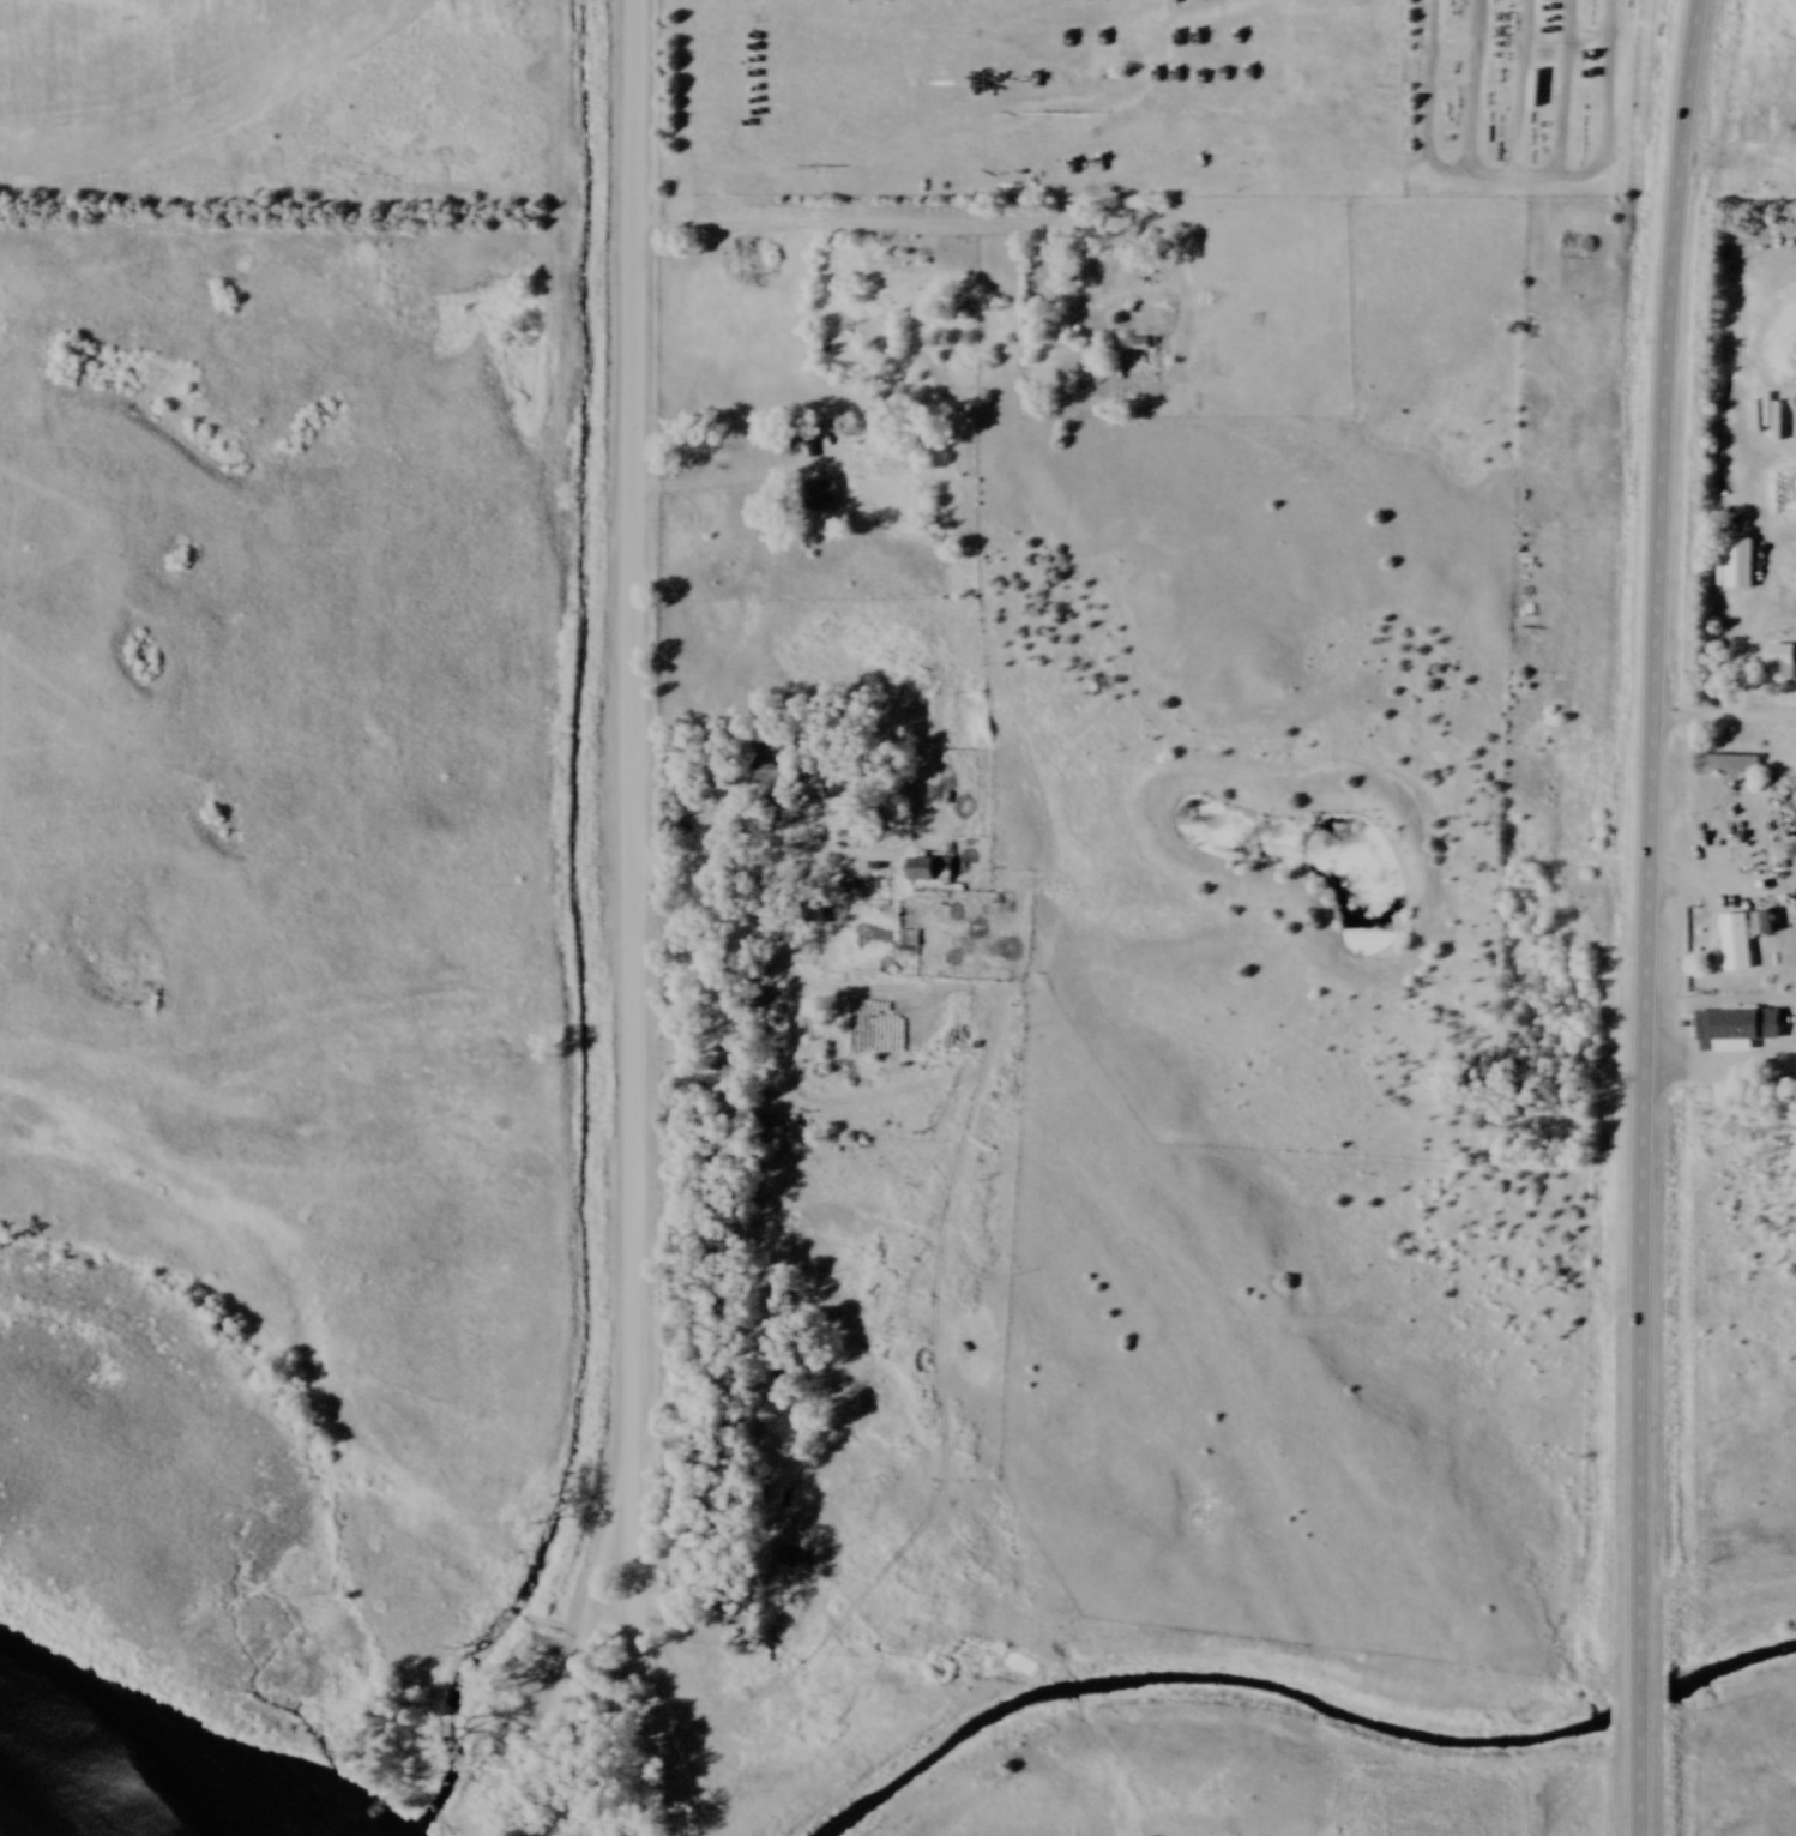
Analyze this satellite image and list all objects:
building: (1500, 130)
road: (831, 228)
building: (891, 261)
building: (1086, 266)
road: (1080, 302)
building: (1168, 307)
building: (1135, 347)
road: (705, 488)
building: (822, 498)
building: (1742, 565)
building: (1783, 666)
road: (631, 744)
building: (778, 763)
building: (1734, 767)
road: (1653, 827)
road: (737, 866)
building: (932, 872)
building: (999, 905)
building: (1744, 940)
building: (1737, 1031)
road: (614, 1611)
road: (567, 1666)
road: (641, 1666)
road: (1638, 1704)
road: (1635, 1793)

